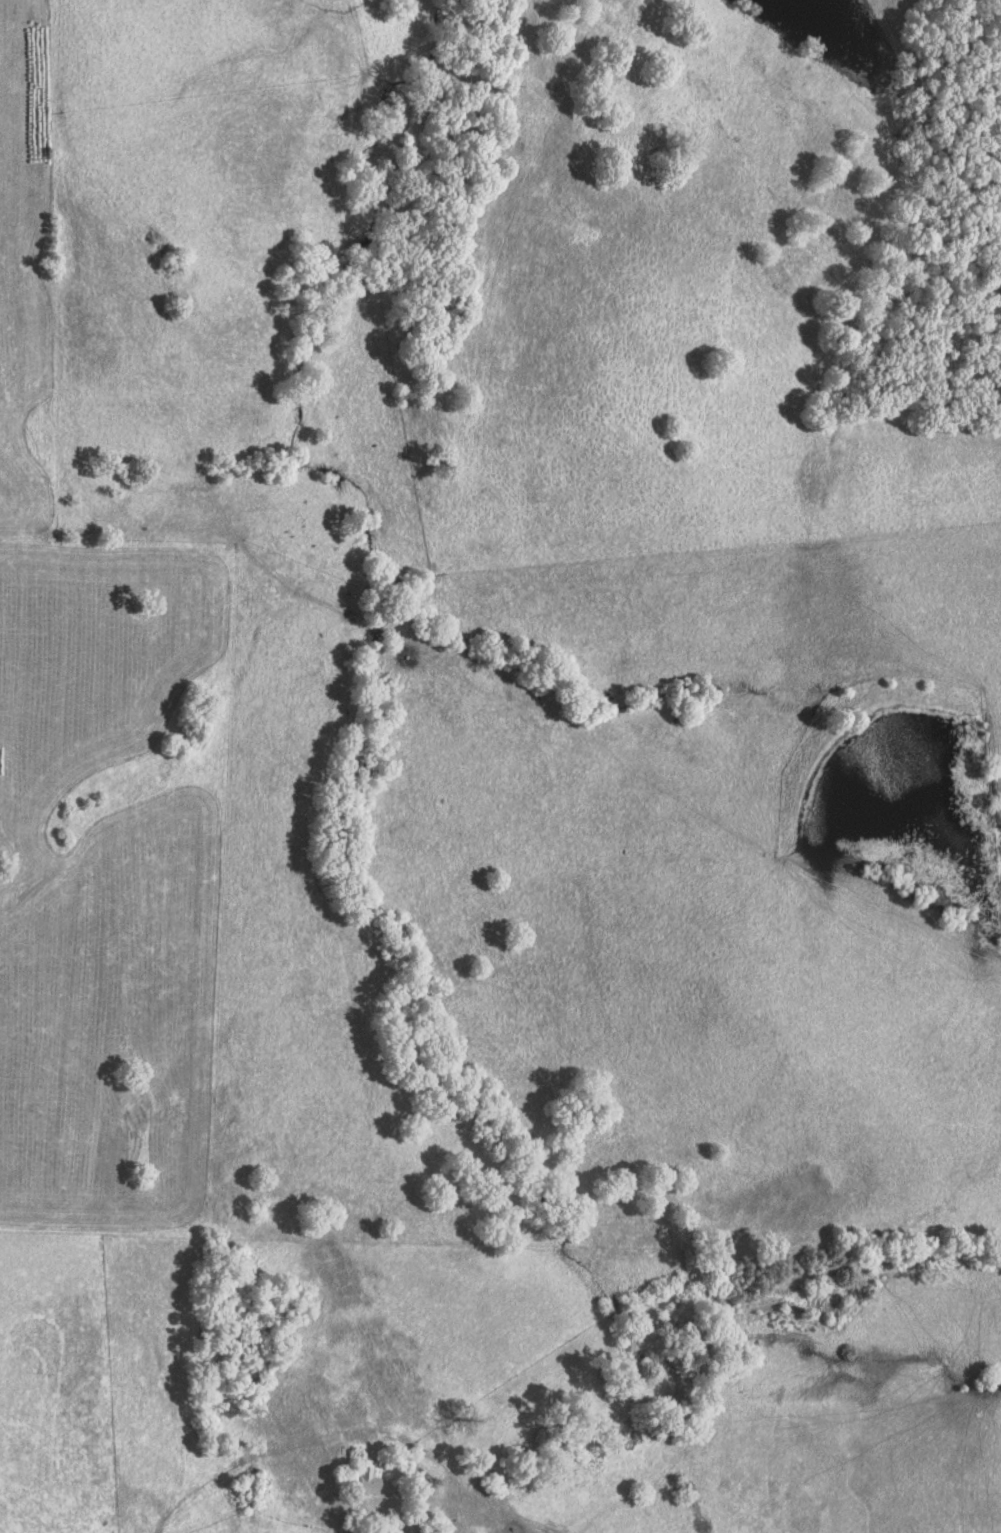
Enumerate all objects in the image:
building: (366, 1477)

